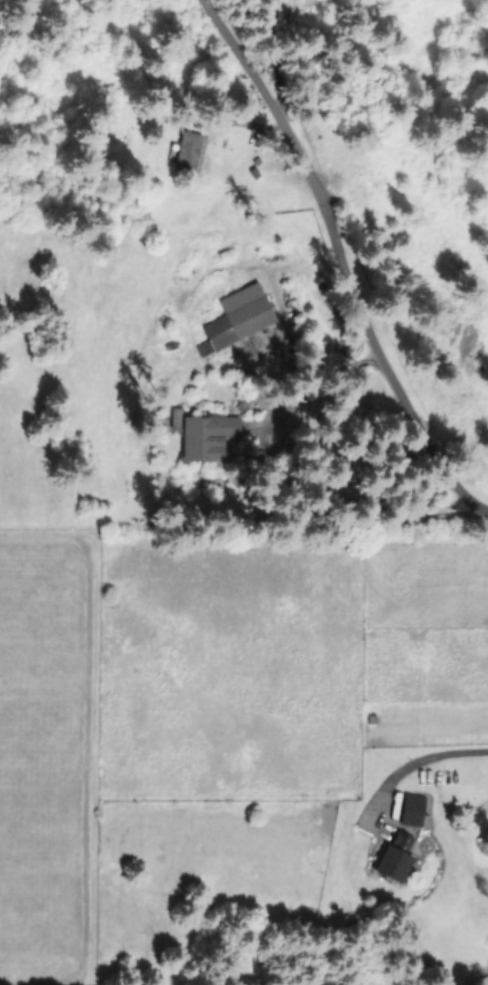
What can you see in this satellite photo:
road: (268, 49)
building: (185, 153)
road: (341, 261)
building: (233, 318)
building: (209, 436)
road: (442, 750)
building: (413, 810)
building: (397, 858)
building: (487, 915)

